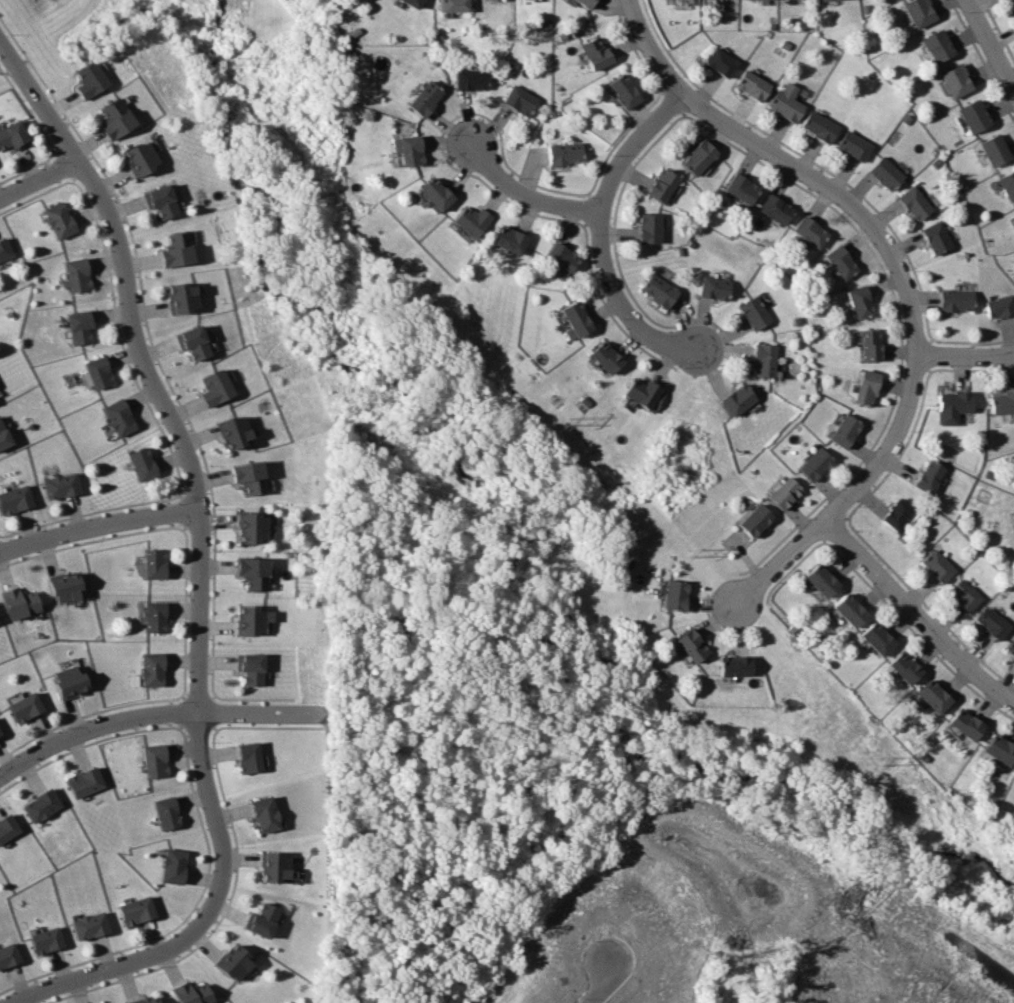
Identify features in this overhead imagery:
building: (820, 0)
building: (410, 2)
building: (584, 2)
building: (451, 5)
building: (1012, 10)
building: (918, 12)
road: (990, 44)
building: (936, 45)
building: (593, 52)
power tower: (232, 60)
building: (718, 62)
road: (5, 64)
building: (469, 79)
building: (88, 80)
building: (954, 80)
building: (750, 85)
building: (622, 90)
building: (423, 98)
building: (518, 100)
building: (784, 102)
building: (973, 115)
building: (113, 118)
building: (817, 126)
building: (12, 135)
building: (852, 145)
building: (993, 149)
building: (563, 153)
building: (696, 157)
building: (137, 158)
building: (883, 173)
road: (39, 183)
building: (1007, 184)
building: (659, 185)
building: (739, 188)
building: (433, 193)
road: (529, 197)
building: (158, 201)
building: (912, 202)
building: (773, 208)
building: (57, 219)
building: (470, 220)
building: (647, 227)
building: (807, 231)
road: (604, 236)
building: (934, 237)
building: (507, 239)
building: (3, 249)
building: (174, 249)
building: (559, 256)
building: (838, 262)
road: (902, 274)
building: (74, 275)
building: (712, 287)
building: (657, 290)
building: (178, 297)
building: (955, 300)
building: (858, 301)
building: (999, 306)
building: (752, 313)
building: (574, 320)
building: (79, 325)
building: (191, 342)
building: (868, 344)
road: (966, 354)
building: (603, 357)
building: (762, 360)
building: (97, 372)
building: (214, 387)
building: (864, 387)
building: (643, 394)
building: (736, 399)
building: (953, 401)
building: (1002, 402)
building: (117, 417)
building: (228, 418)
power tower: (563, 421)
building: (842, 431)
building: (3, 437)
building: (141, 463)
building: (813, 463)
road: (198, 468)
building: (248, 476)
building: (926, 476)
building: (60, 485)
building: (783, 492)
building: (14, 499)
building: (896, 514)
road: (100, 520)
building: (754, 520)
building: (251, 527)
park: (524, 552)
building: (154, 563)
building: (936, 565)
building: (253, 572)
building: (819, 580)
building: (64, 586)
building: (963, 594)
building: (673, 595)
building: (19, 602)
building: (847, 610)
road: (917, 615)
building: (153, 616)
building: (252, 619)
building: (991, 622)
building: (875, 638)
building: (689, 645)
building: (1010, 646)
building: (732, 665)
building: (902, 667)
building: (151, 668)
building: (252, 669)
building: (69, 681)
building: (931, 696)
road: (149, 711)
building: (963, 723)
building: (997, 749)
building: (247, 756)
building: (154, 760)
power tower: (877, 760)
building: (84, 781)
building: (40, 805)
building: (165, 812)
building: (262, 813)
building: (7, 827)
building: (172, 865)
building: (273, 866)
building: (135, 910)
building: (262, 920)
building: (89, 925)
building: (45, 940)
building: (8, 955)
building: (232, 962)
road: (100, 968)
road: (597, 981)
building: (191, 993)
building: (144, 1000)

